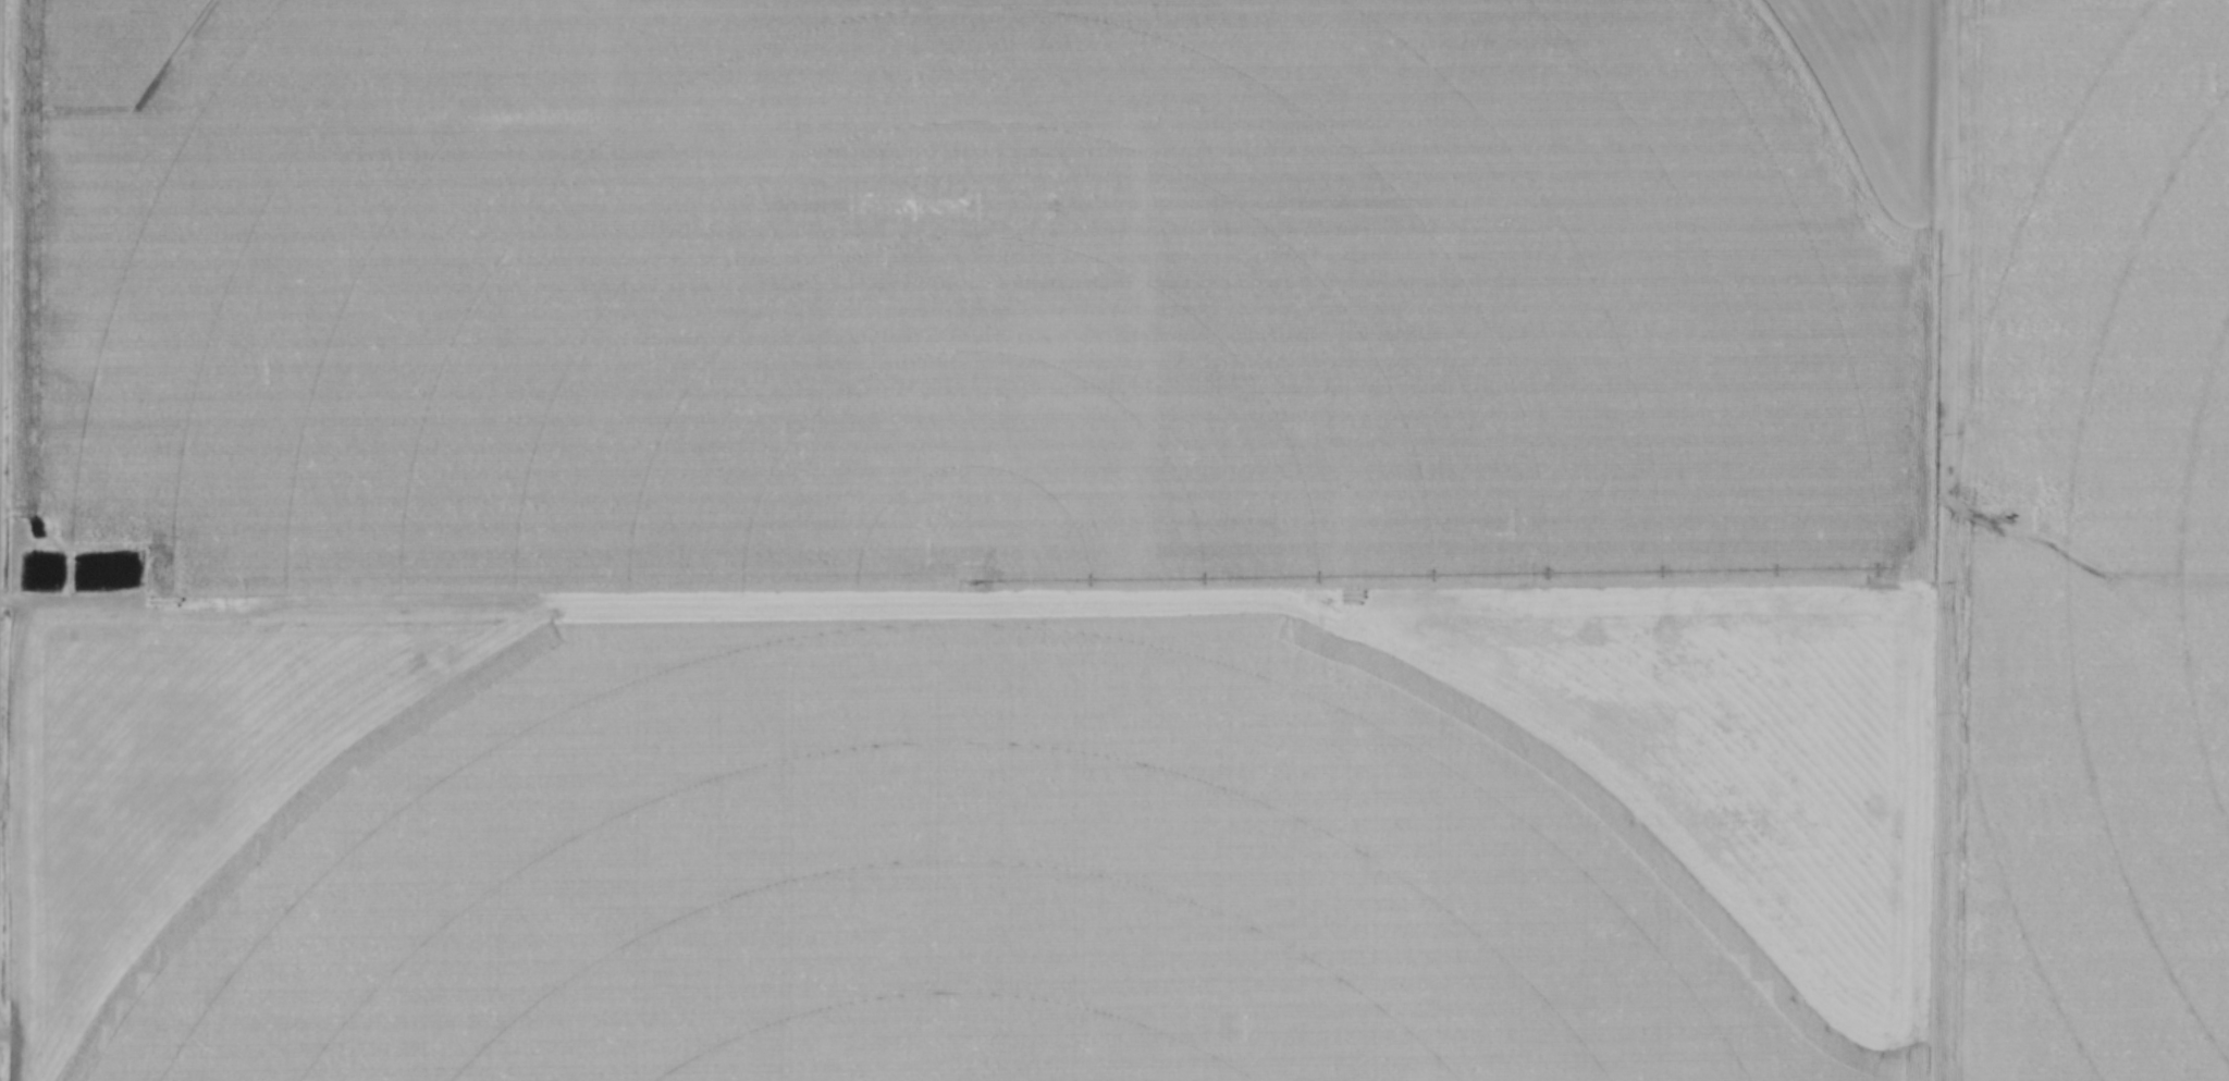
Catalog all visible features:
crop: (1124, 540)
road: (924, 589)

